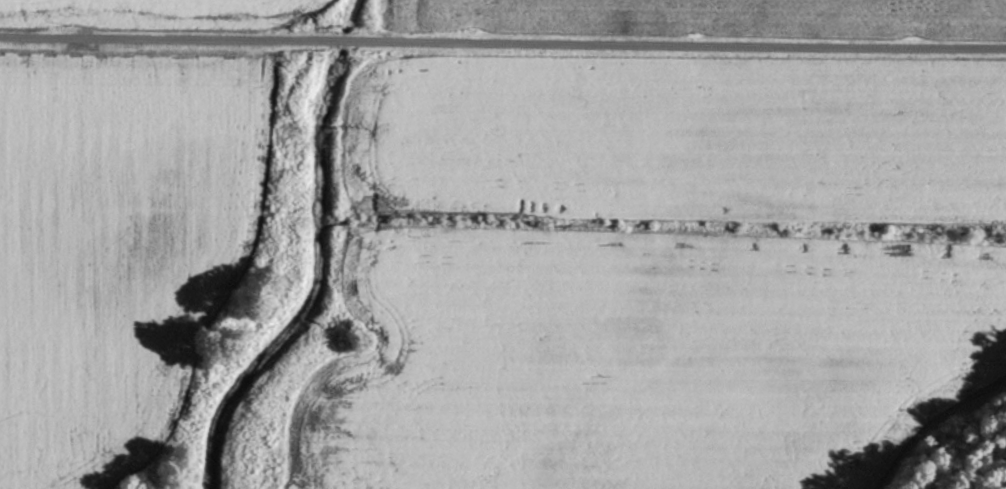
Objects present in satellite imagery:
road: (502, 45)

